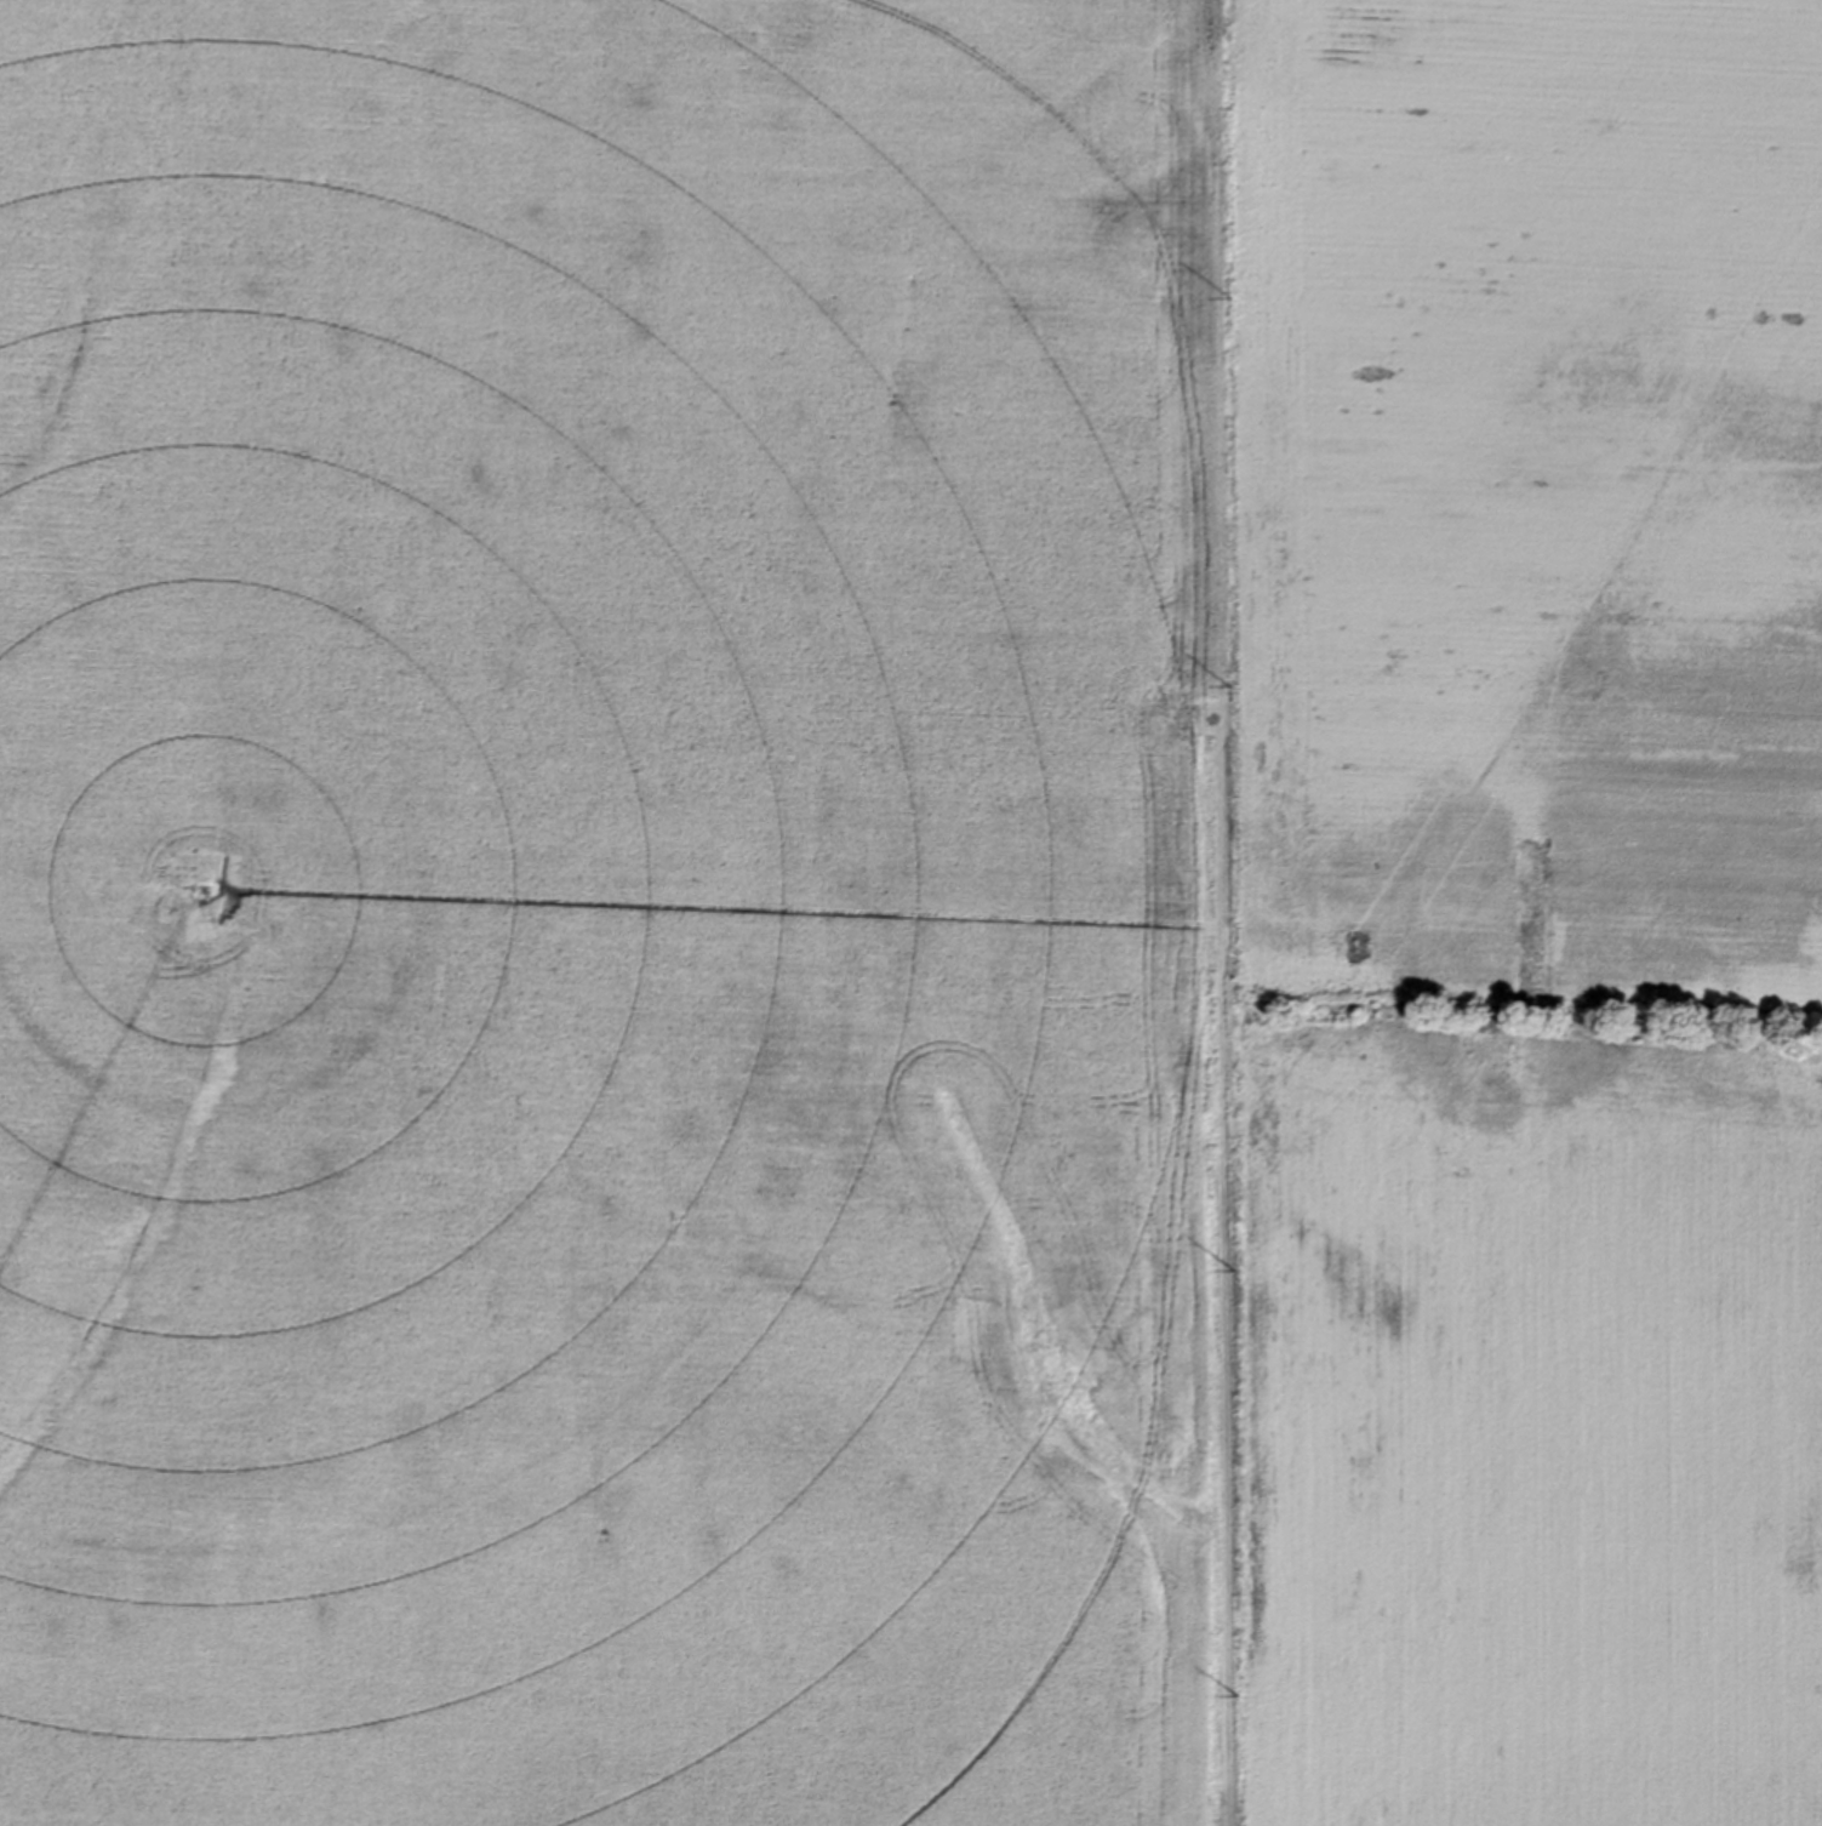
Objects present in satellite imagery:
power tower: (1232, 296)
power tower: (1230, 679)
power tower: (1236, 1268)
power tower: (1236, 1694)

